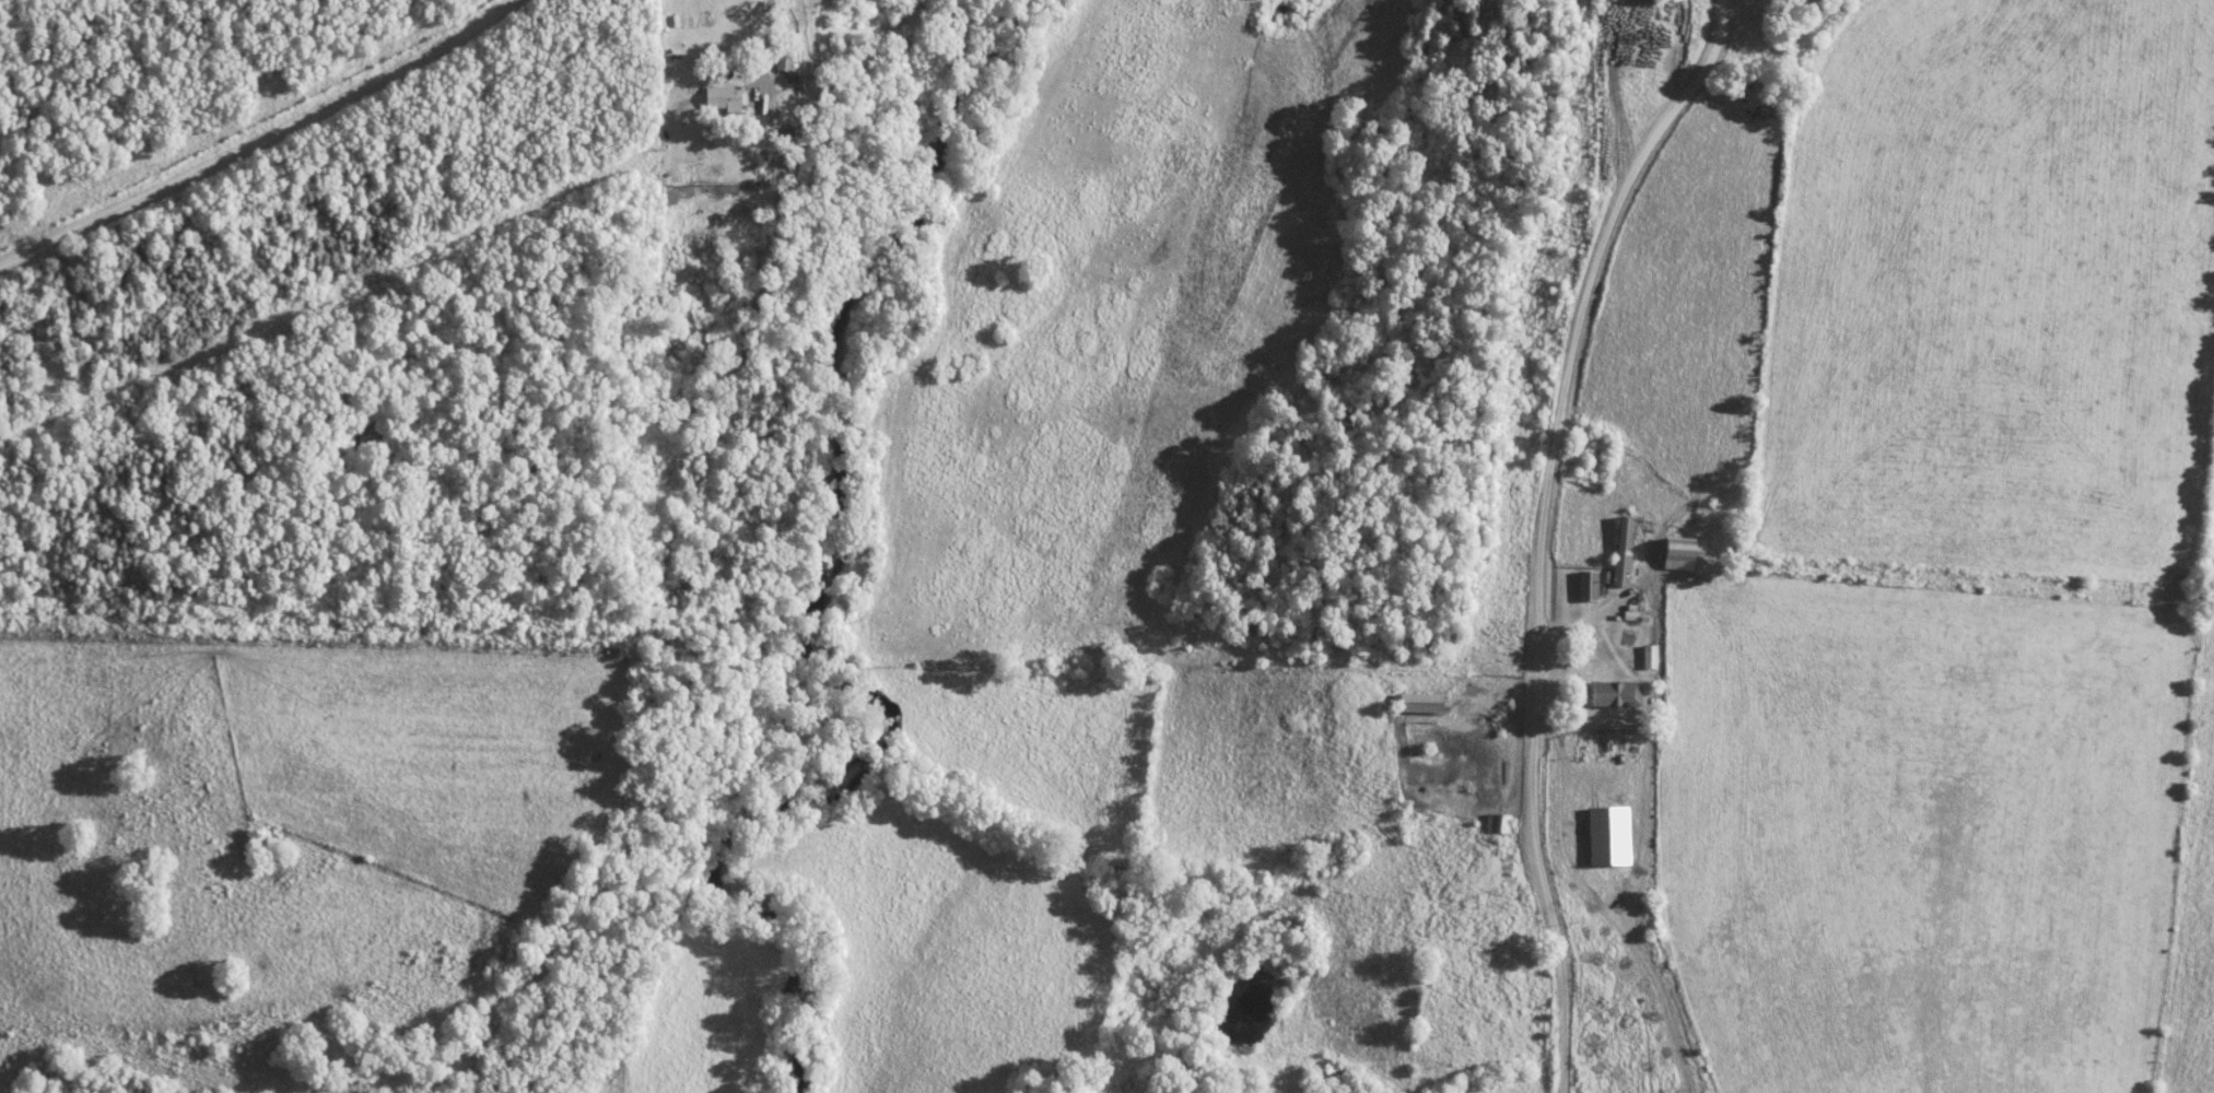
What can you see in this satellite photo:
road: (777, 63)
building: (786, 63)
building: (727, 98)
road: (269, 143)
building: (689, 173)
road: (1547, 528)
building: (1625, 550)
building: (1684, 554)
building: (1590, 585)
building: (1651, 656)
building: (1618, 694)
building: (1424, 703)
building: (1498, 823)
building: (1612, 835)

